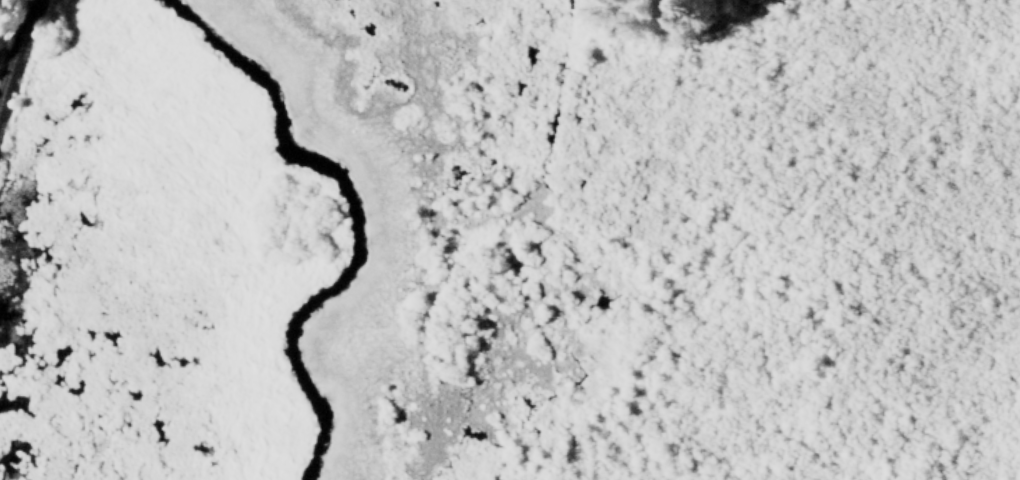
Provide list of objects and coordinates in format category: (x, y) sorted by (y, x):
railway: (10, 35)

